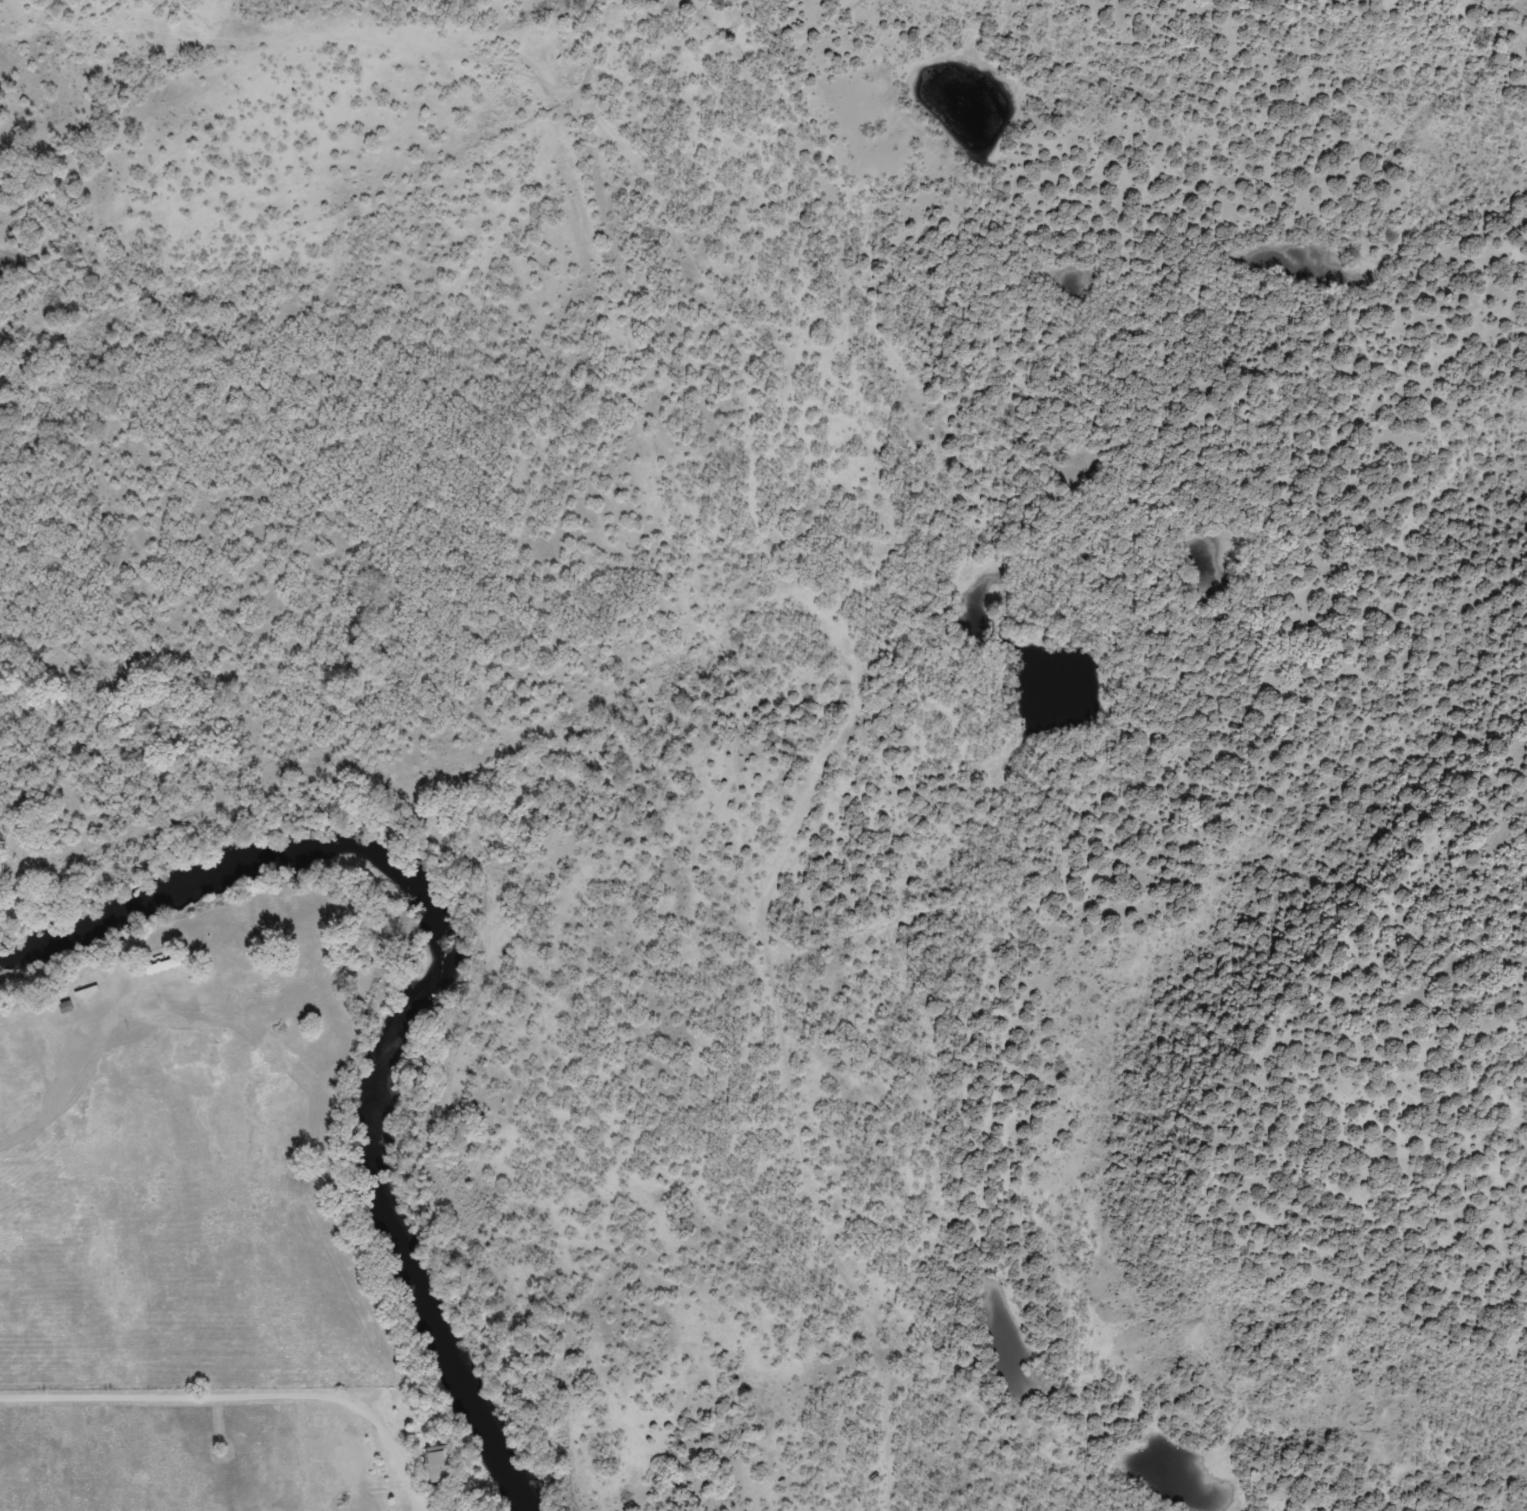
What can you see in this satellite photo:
road: (711, 524)
building: (167, 964)
building: (65, 1009)
building: (438, 1465)

